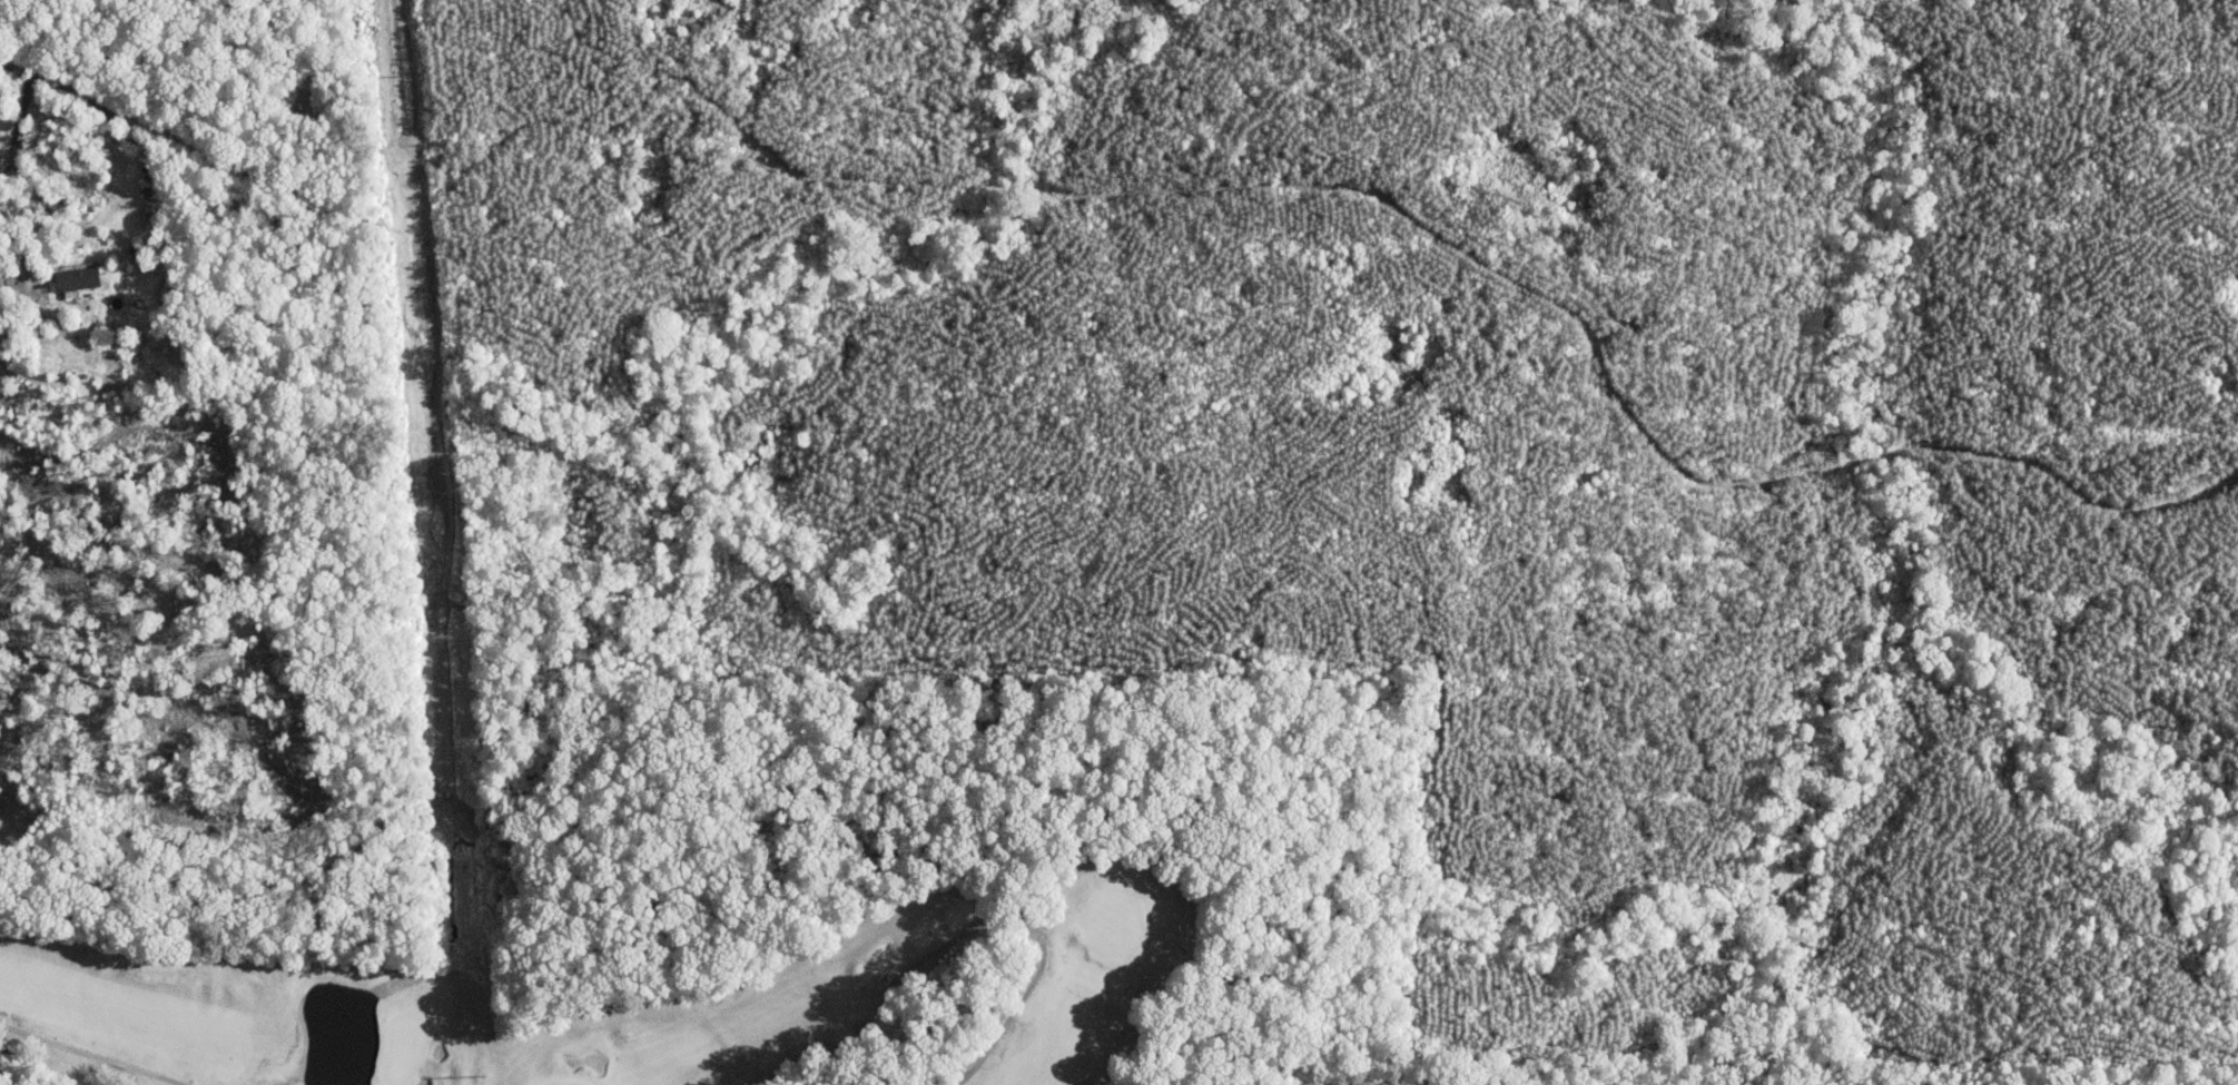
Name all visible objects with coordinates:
road: (100, 103)
building: (79, 278)
road: (966, 935)
park: (655, 993)
road: (92, 1055)

